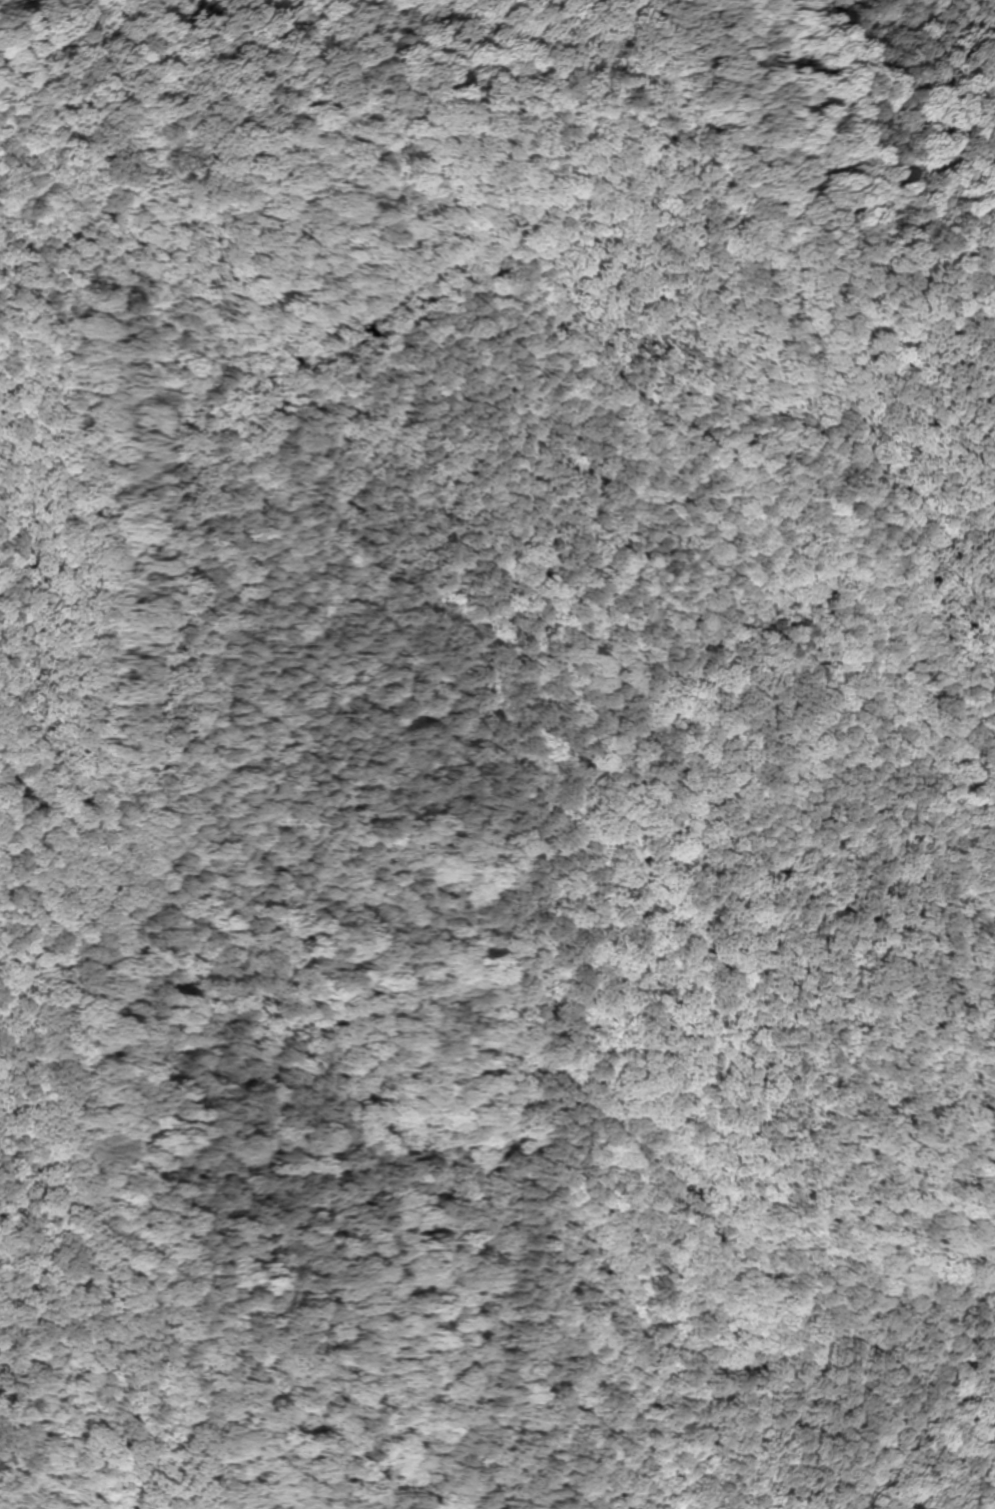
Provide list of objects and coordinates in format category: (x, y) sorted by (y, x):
road: (584, 1230)

